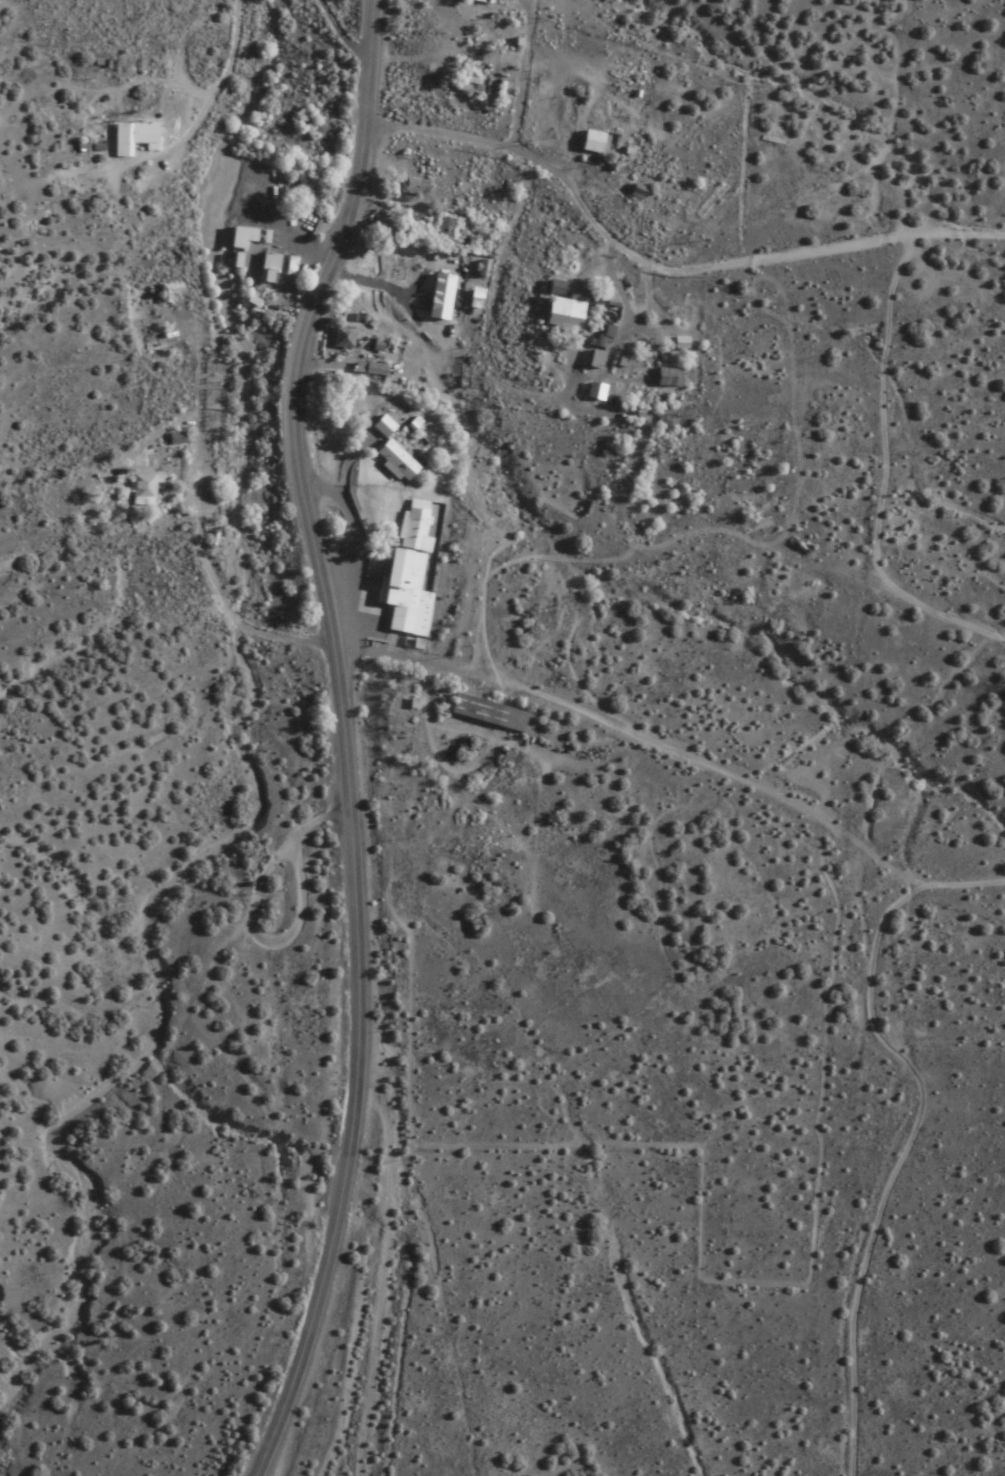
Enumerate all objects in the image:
building: (479, 0)
road: (335, 33)
road: (221, 74)
building: (467, 82)
building: (301, 125)
building: (130, 136)
building: (590, 141)
building: (413, 184)
building: (442, 230)
building: (238, 236)
building: (275, 265)
road: (662, 266)
building: (552, 286)
building: (167, 290)
building: (566, 308)
building: (341, 336)
building: (598, 343)
building: (668, 376)
road: (290, 416)
building: (380, 424)
building: (393, 459)
building: (140, 489)
building: (402, 591)
building: (487, 712)
building: (487, 884)
road: (346, 1165)

